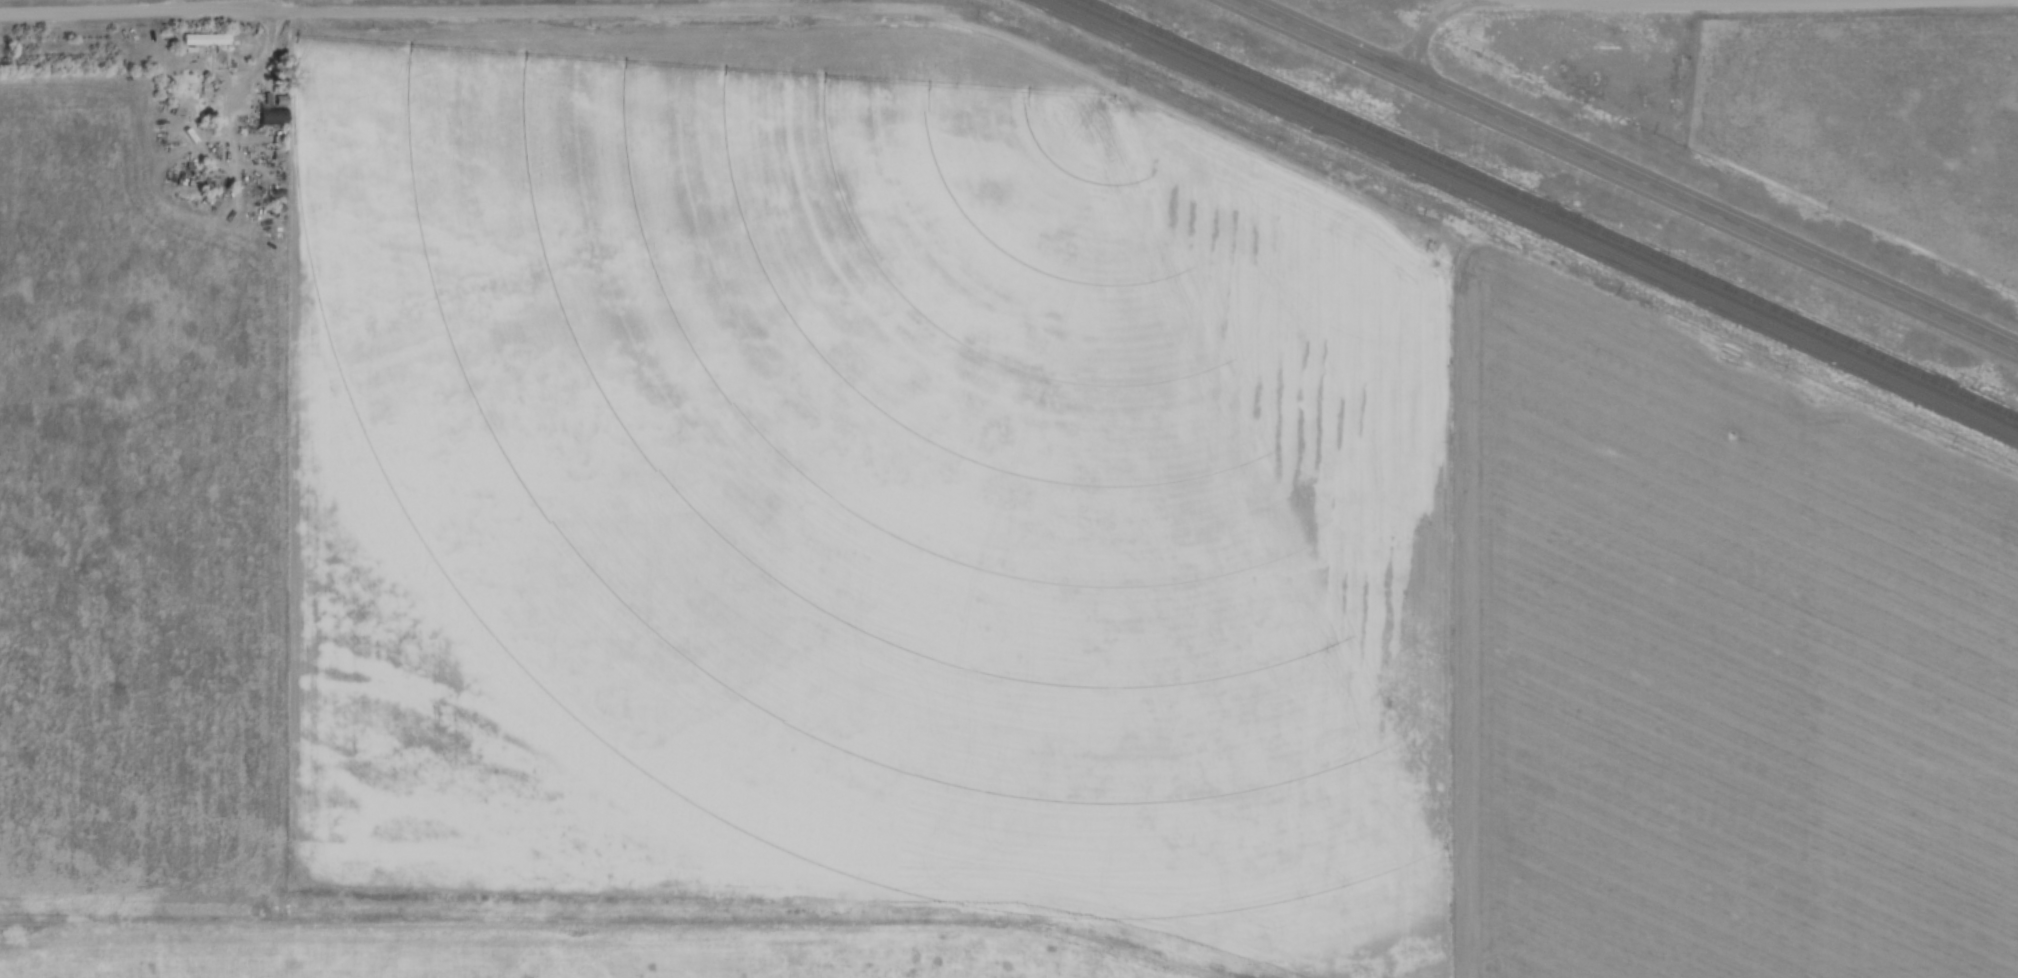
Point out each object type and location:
road: (446, 12)
road: (1432, 27)
road: (264, 70)
crop: (1873, 119)
road: (1630, 173)
railway: (1554, 207)
railway: (1537, 215)

